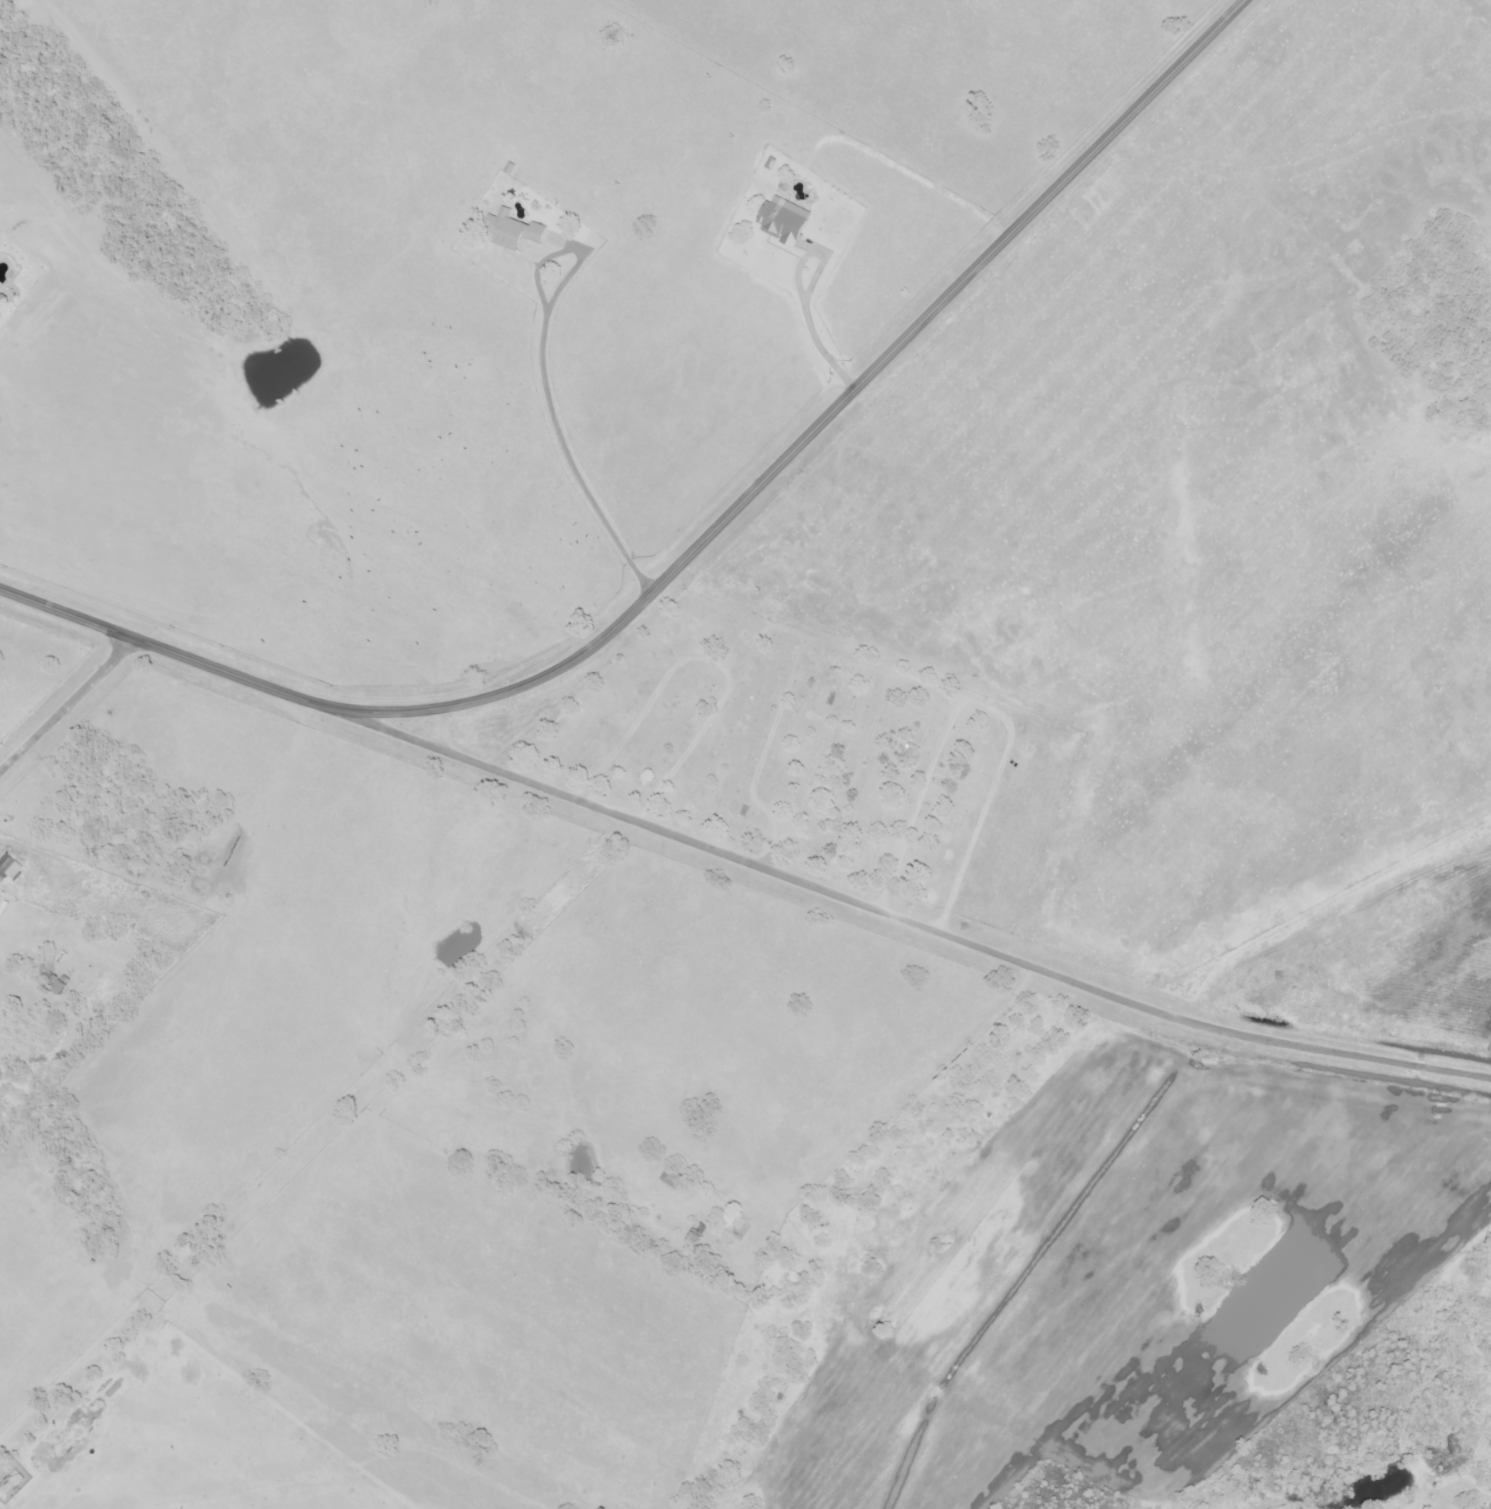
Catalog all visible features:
building: (781, 222)
building: (511, 231)
building: (2, 304)
road: (806, 313)
road: (550, 412)
road: (697, 546)
road: (65, 704)
park: (818, 754)
building: (8, 868)
road: (890, 916)
building: (52, 984)
road: (902, 1100)
building: (672, 1179)
building: (732, 1231)

